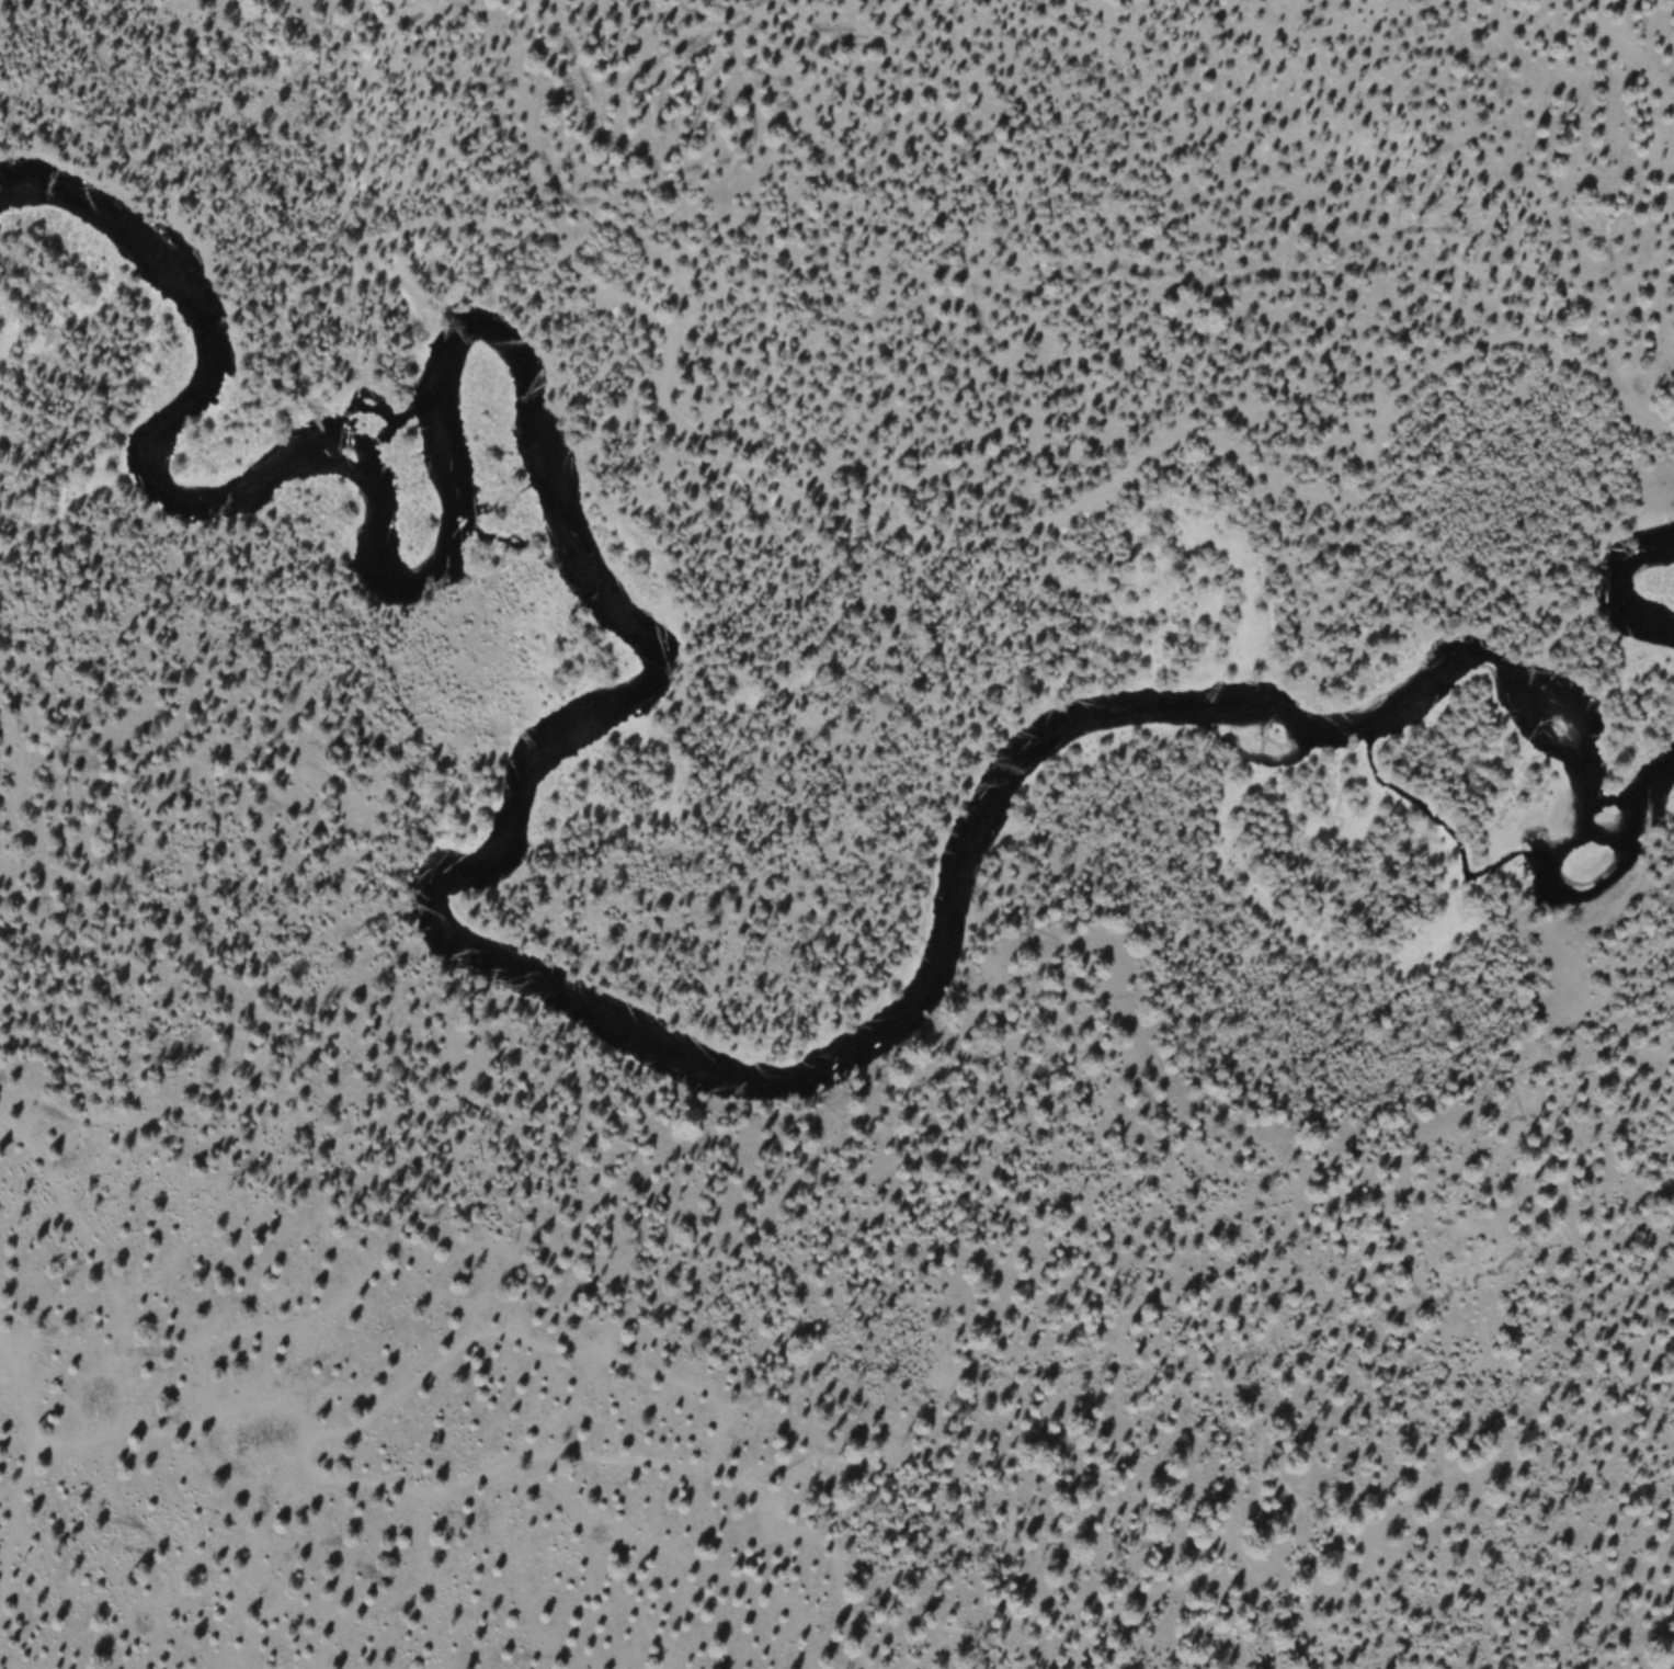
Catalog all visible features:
river: (1621, 591)
river: (440, 885)
road: (850, 1442)
road: (810, 1564)

